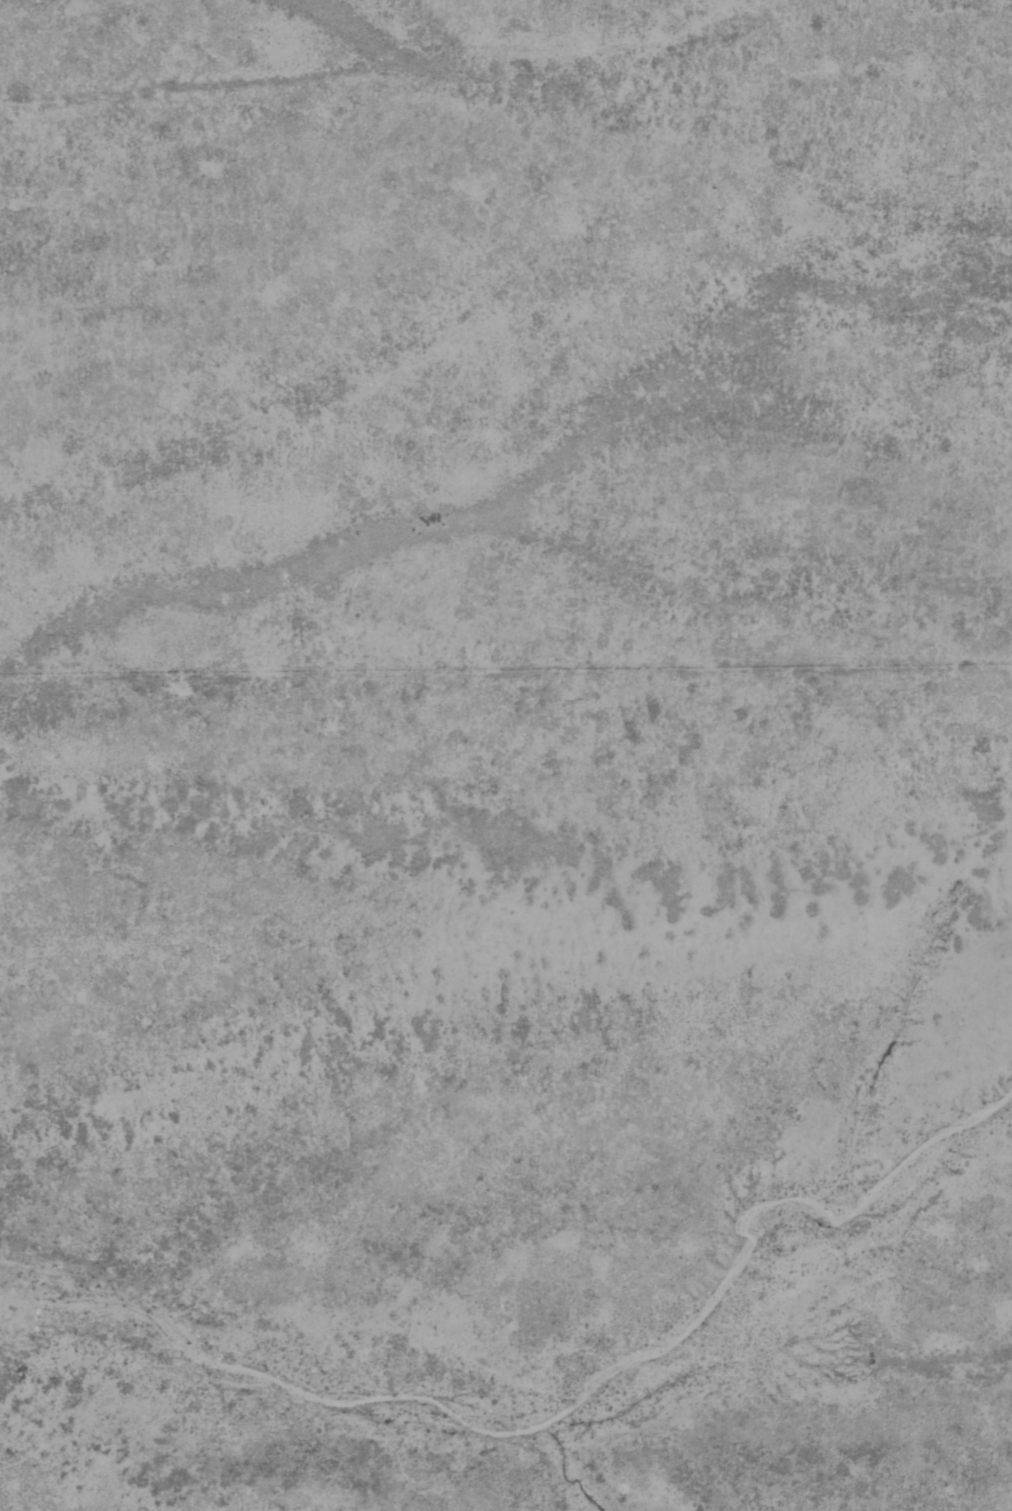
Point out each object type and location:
road: (378, 1498)
road: (46, 1509)

